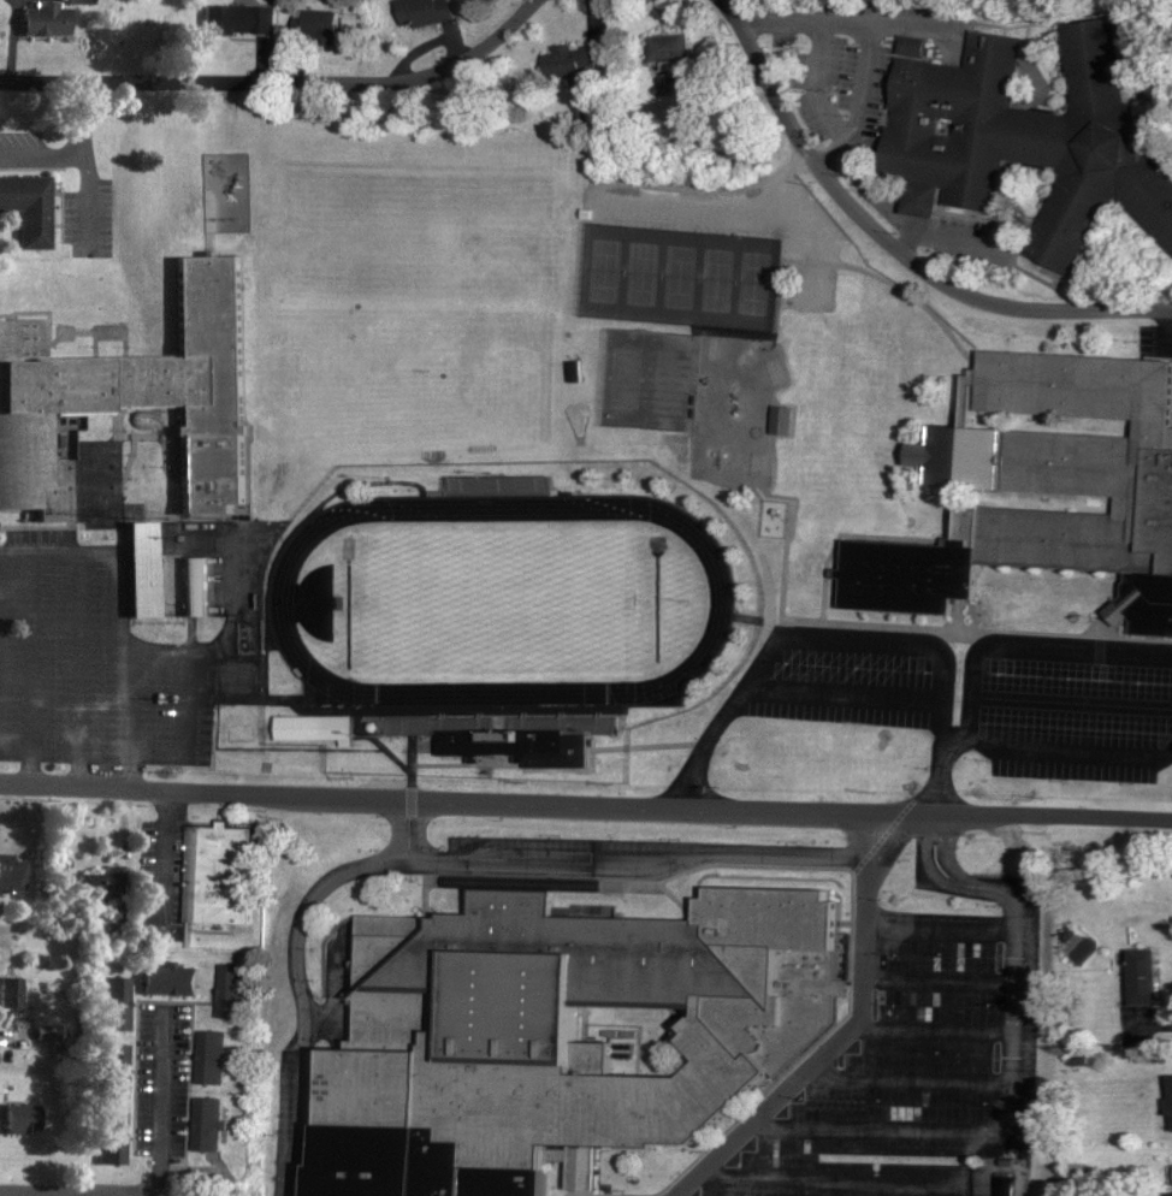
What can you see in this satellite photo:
building: (427, 12)
building: (48, 18)
building: (241, 20)
building: (326, 28)
road: (866, 40)
building: (671, 48)
building: (586, 65)
road: (279, 81)
building: (1025, 140)
building: (28, 208)
road: (890, 245)
park: (679, 279)
park: (485, 309)
building: (136, 396)
building: (498, 485)
building: (1043, 487)
building: (143, 569)
building: (196, 586)
road: (19, 596)
park: (499, 600)
track: (280, 603)
road: (126, 639)
road: (1020, 645)
road: (848, 647)
road: (39, 671)
road: (82, 673)
building: (318, 728)
building: (504, 742)
road: (586, 803)
road: (167, 853)
road: (643, 871)
building: (11, 875)
building: (224, 876)
building: (102, 883)
road: (298, 963)
building: (1146, 977)
building: (171, 981)
road: (1020, 989)
building: (232, 990)
building: (10, 993)
building: (117, 1003)
road: (851, 1035)
road: (11, 1036)
building: (564, 1036)
building: (214, 1058)
building: (114, 1072)
road: (160, 1090)
building: (22, 1120)
building: (213, 1125)
building: (111, 1138)
building: (1002, 1184)
road: (29, 1194)
road: (88, 1194)
road: (79, 1195)

